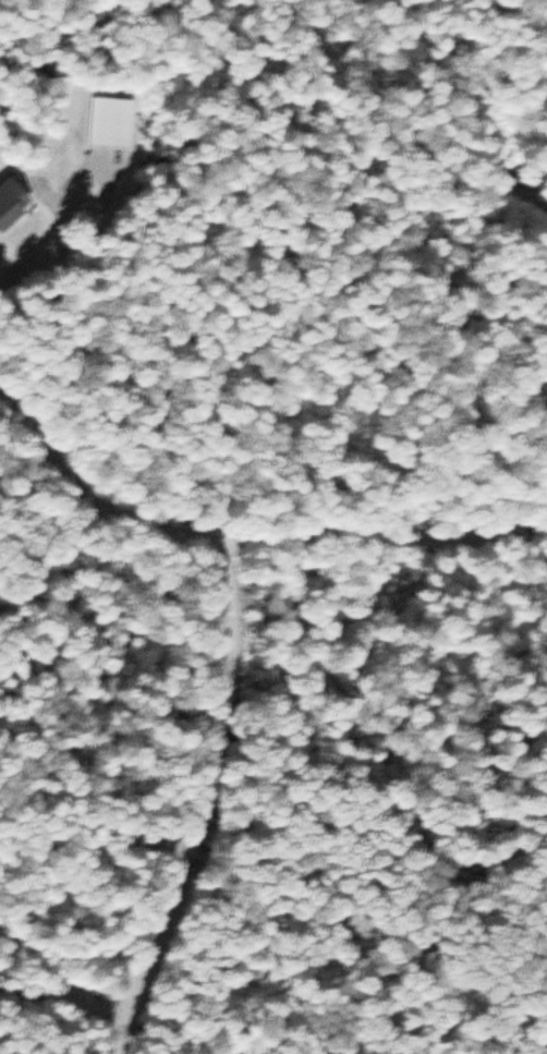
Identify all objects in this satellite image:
building: (109, 122)
building: (11, 202)
road: (101, 481)
road: (382, 529)
road: (196, 795)

